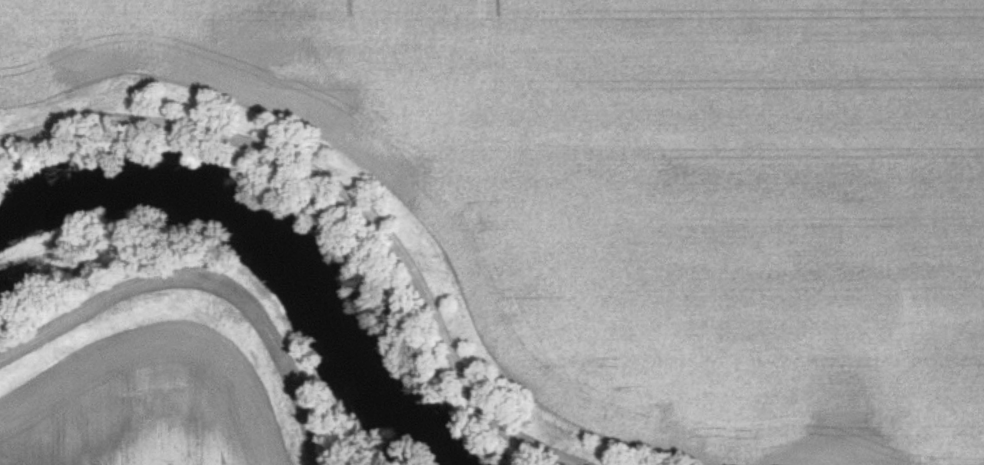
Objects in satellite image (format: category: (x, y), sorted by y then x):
river: (267, 232)

